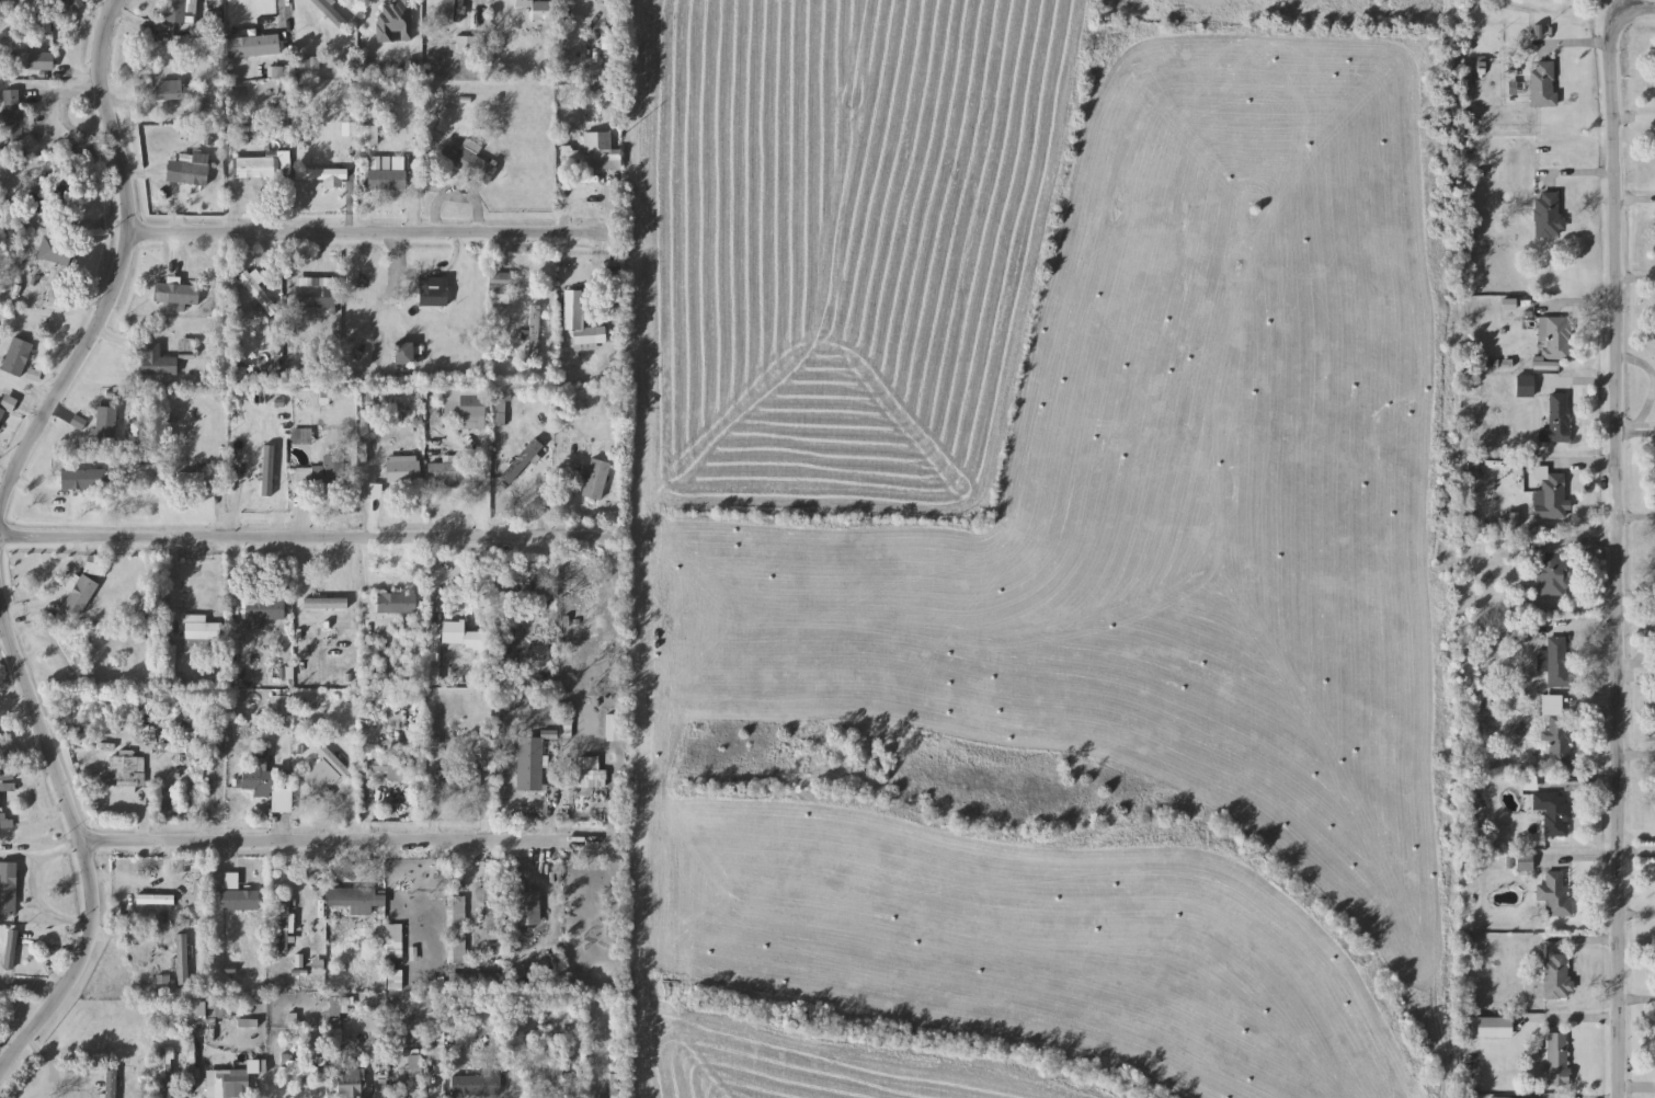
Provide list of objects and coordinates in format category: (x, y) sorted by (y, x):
road: (548, 0)
road: (106, 2)
building: (77, 3)
road: (1624, 7)
road: (279, 8)
road: (1613, 9)
building: (511, 10)
building: (543, 10)
building: (176, 11)
building: (454, 11)
building: (330, 12)
road: (1635, 12)
building: (395, 22)
building: (254, 46)
road: (1575, 46)
building: (37, 61)
building: (1543, 84)
building: (169, 90)
building: (13, 116)
road: (1633, 121)
building: (598, 150)
building: (468, 161)
building: (261, 165)
road: (1575, 175)
road: (1634, 201)
building: (44, 202)
building: (1548, 215)
road: (373, 232)
road: (122, 260)
building: (60, 268)
road: (1635, 282)
building: (500, 287)
building: (178, 294)
building: (259, 294)
building: (434, 296)
road: (1576, 307)
building: (579, 322)
building: (535, 332)
building: (1557, 340)
building: (404, 354)
building: (16, 357)
building: (158, 365)
road: (1653, 384)
building: (1525, 386)
road: (1577, 386)
building: (473, 407)
building: (2, 414)
building: (1557, 420)
building: (106, 426)
road: (1635, 431)
building: (301, 436)
building: (522, 461)
road: (1579, 465)
building: (403, 471)
building: (448, 471)
building: (322, 472)
road: (7, 473)
building: (596, 479)
building: (85, 480)
building: (191, 481)
building: (1551, 497)
road: (1636, 519)
road: (309, 539)
road: (1575, 544)
road: (1618, 556)
building: (1552, 574)
road: (231, 587)
building: (81, 595)
building: (534, 595)
building: (581, 599)
building: (398, 603)
building: (327, 604)
building: (265, 611)
road: (1578, 627)
building: (199, 631)
building: (81, 651)
building: (375, 651)
building: (1555, 662)
road: (1636, 678)
road: (1596, 702)
building: (144, 714)
building: (1557, 731)
road: (1636, 757)
building: (530, 764)
building: (326, 770)
building: (385, 770)
building: (585, 773)
building: (125, 774)
building: (459, 779)
building: (265, 785)
road: (1589, 789)
building: (1550, 808)
building: (3, 819)
road: (79, 839)
road: (345, 843)
road: (1582, 860)
building: (1525, 861)
building: (231, 880)
building: (9, 888)
building: (199, 893)
building: (1555, 894)
building: (156, 900)
building: (240, 900)
building: (357, 900)
building: (418, 901)
building: (527, 910)
road: (1637, 918)
building: (284, 926)
road: (1587, 946)
building: (12, 950)
building: (183, 960)
building: (1557, 977)
road: (28, 987)
road: (1637, 1006)
building: (336, 1014)
road: (1590, 1021)
building: (1559, 1060)
road: (49, 1065)
building: (296, 1067)
building: (163, 1068)
building: (550, 1073)
building: (352, 1083)
building: (232, 1084)
building: (476, 1085)
building: (111, 1087)
building: (613, 1088)
road: (251, 1090)
road: (194, 1094)

